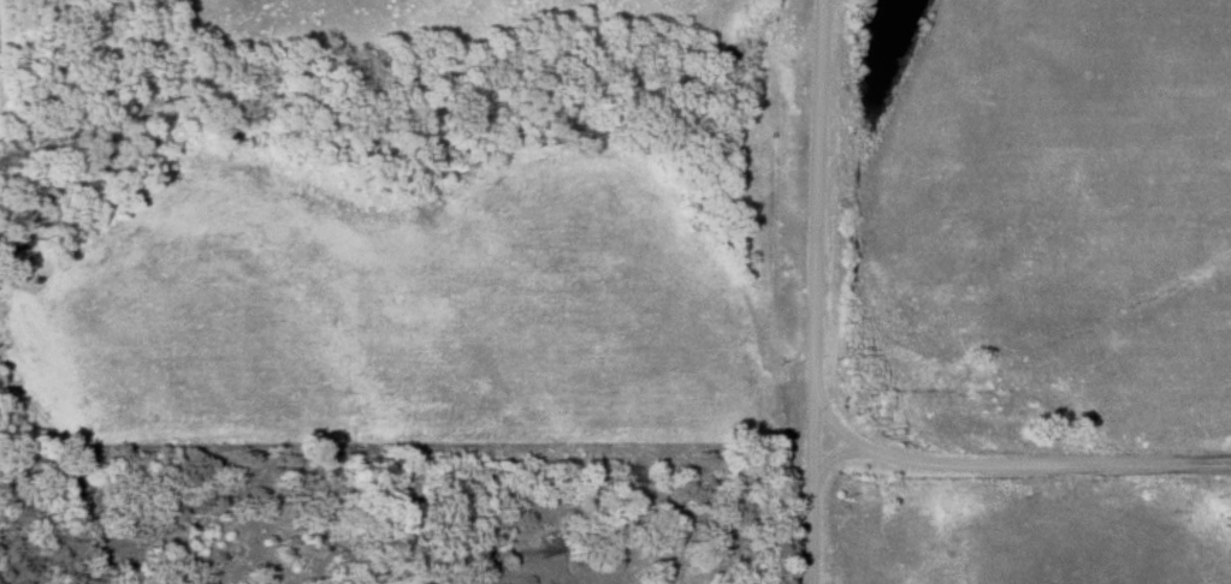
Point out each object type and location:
road: (807, 292)
road: (828, 457)
road: (1008, 465)

